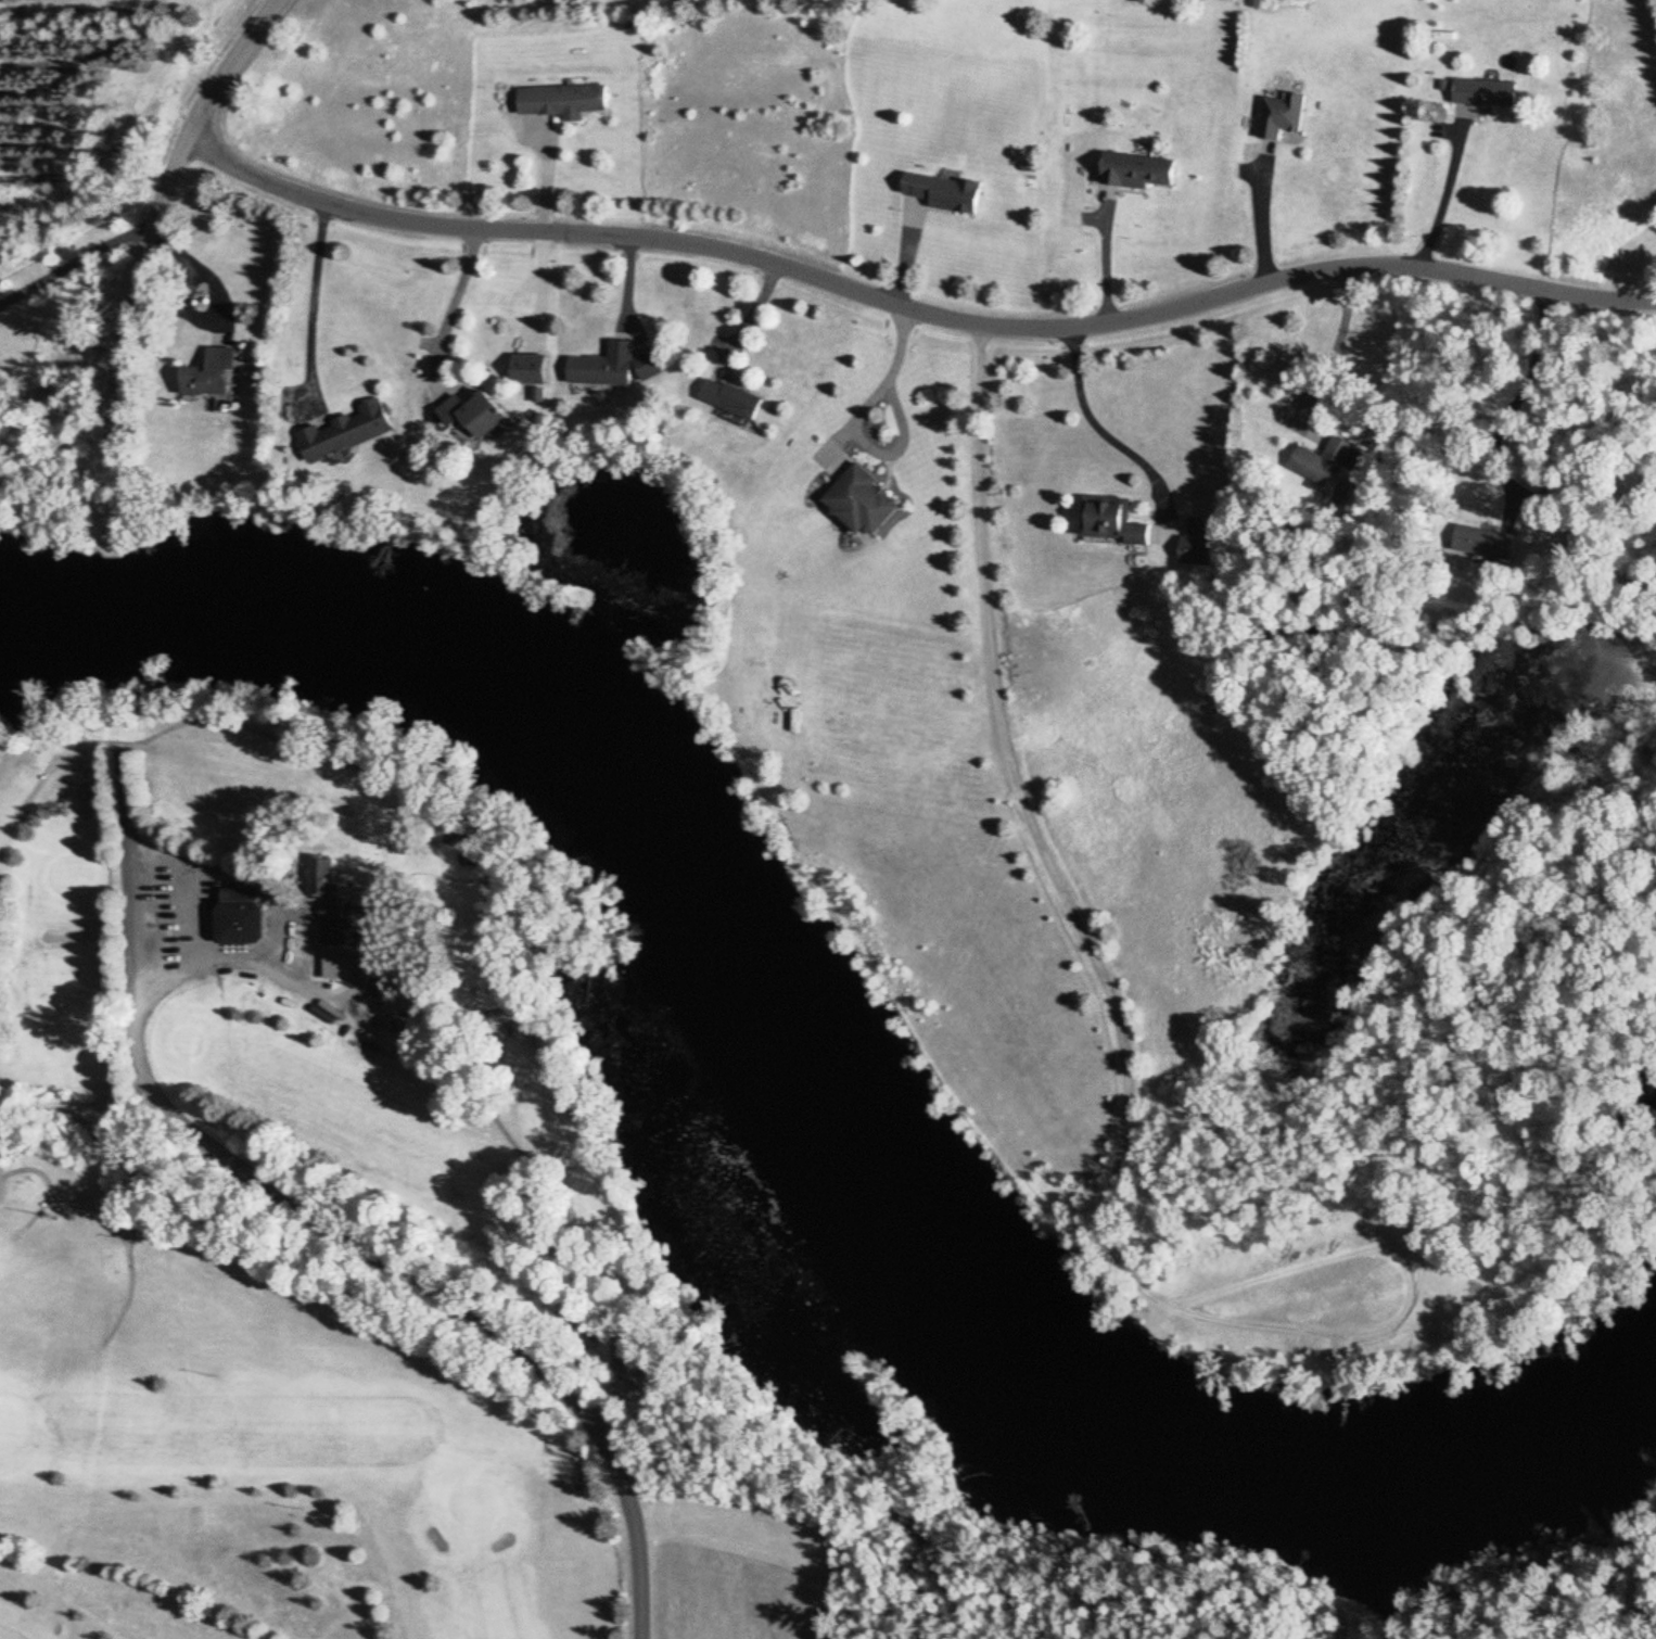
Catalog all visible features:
building: (1486, 94)
building: (562, 102)
building: (1283, 116)
building: (1137, 175)
building: (942, 194)
road: (147, 255)
road: (910, 312)
building: (617, 368)
building: (214, 378)
building: (735, 401)
building: (476, 417)
building: (348, 433)
road: (1114, 441)
building: (1326, 468)
building: (865, 503)
building: (1117, 524)
building: (1173, 547)
building: (319, 878)
building: (239, 915)
parking lot: (157, 929)
river: (814, 1085)
park: (282, 1222)
road: (344, 1240)

